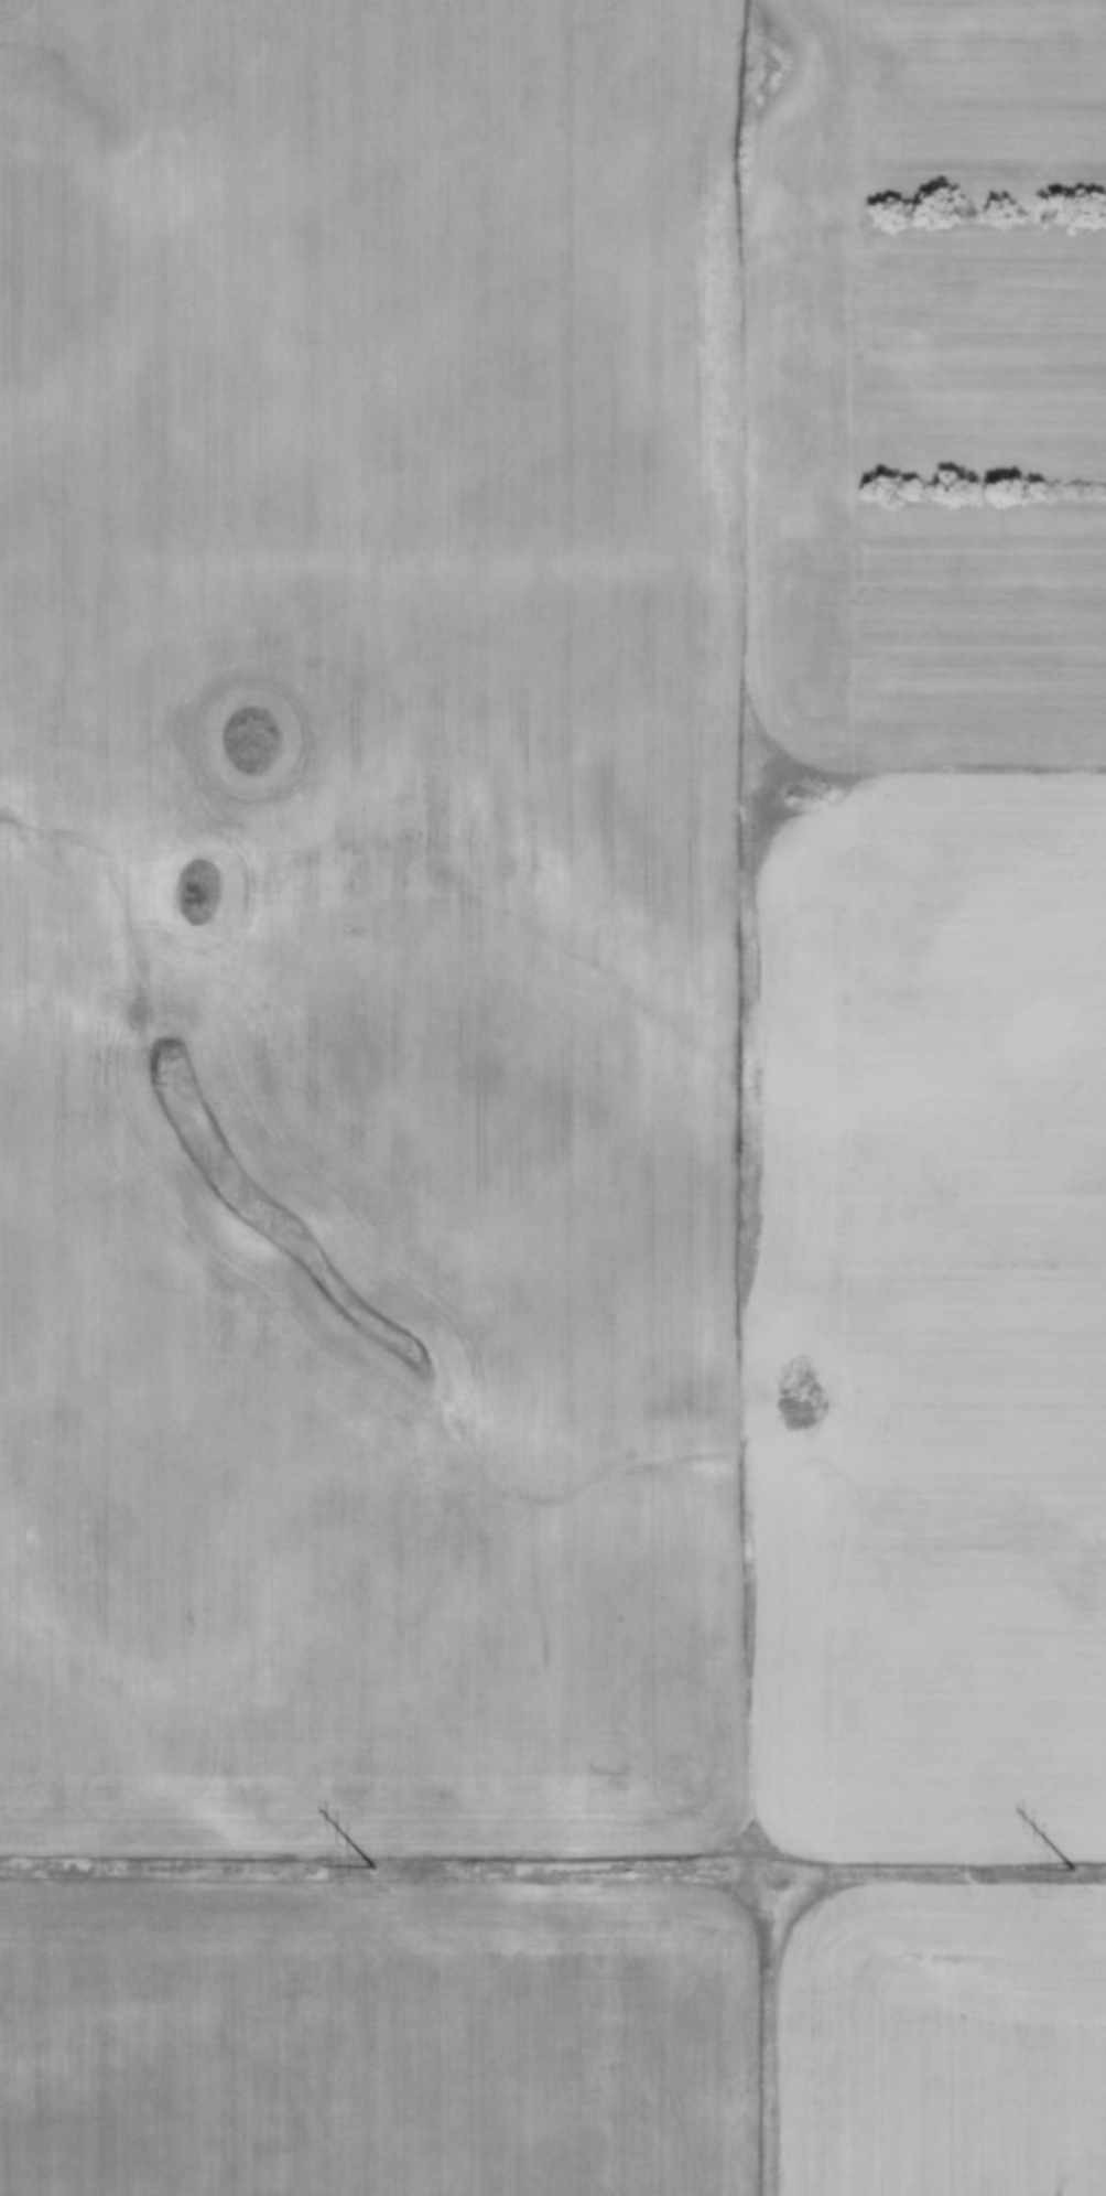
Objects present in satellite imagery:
power tower: (371, 1865)
power tower: (1073, 1867)

